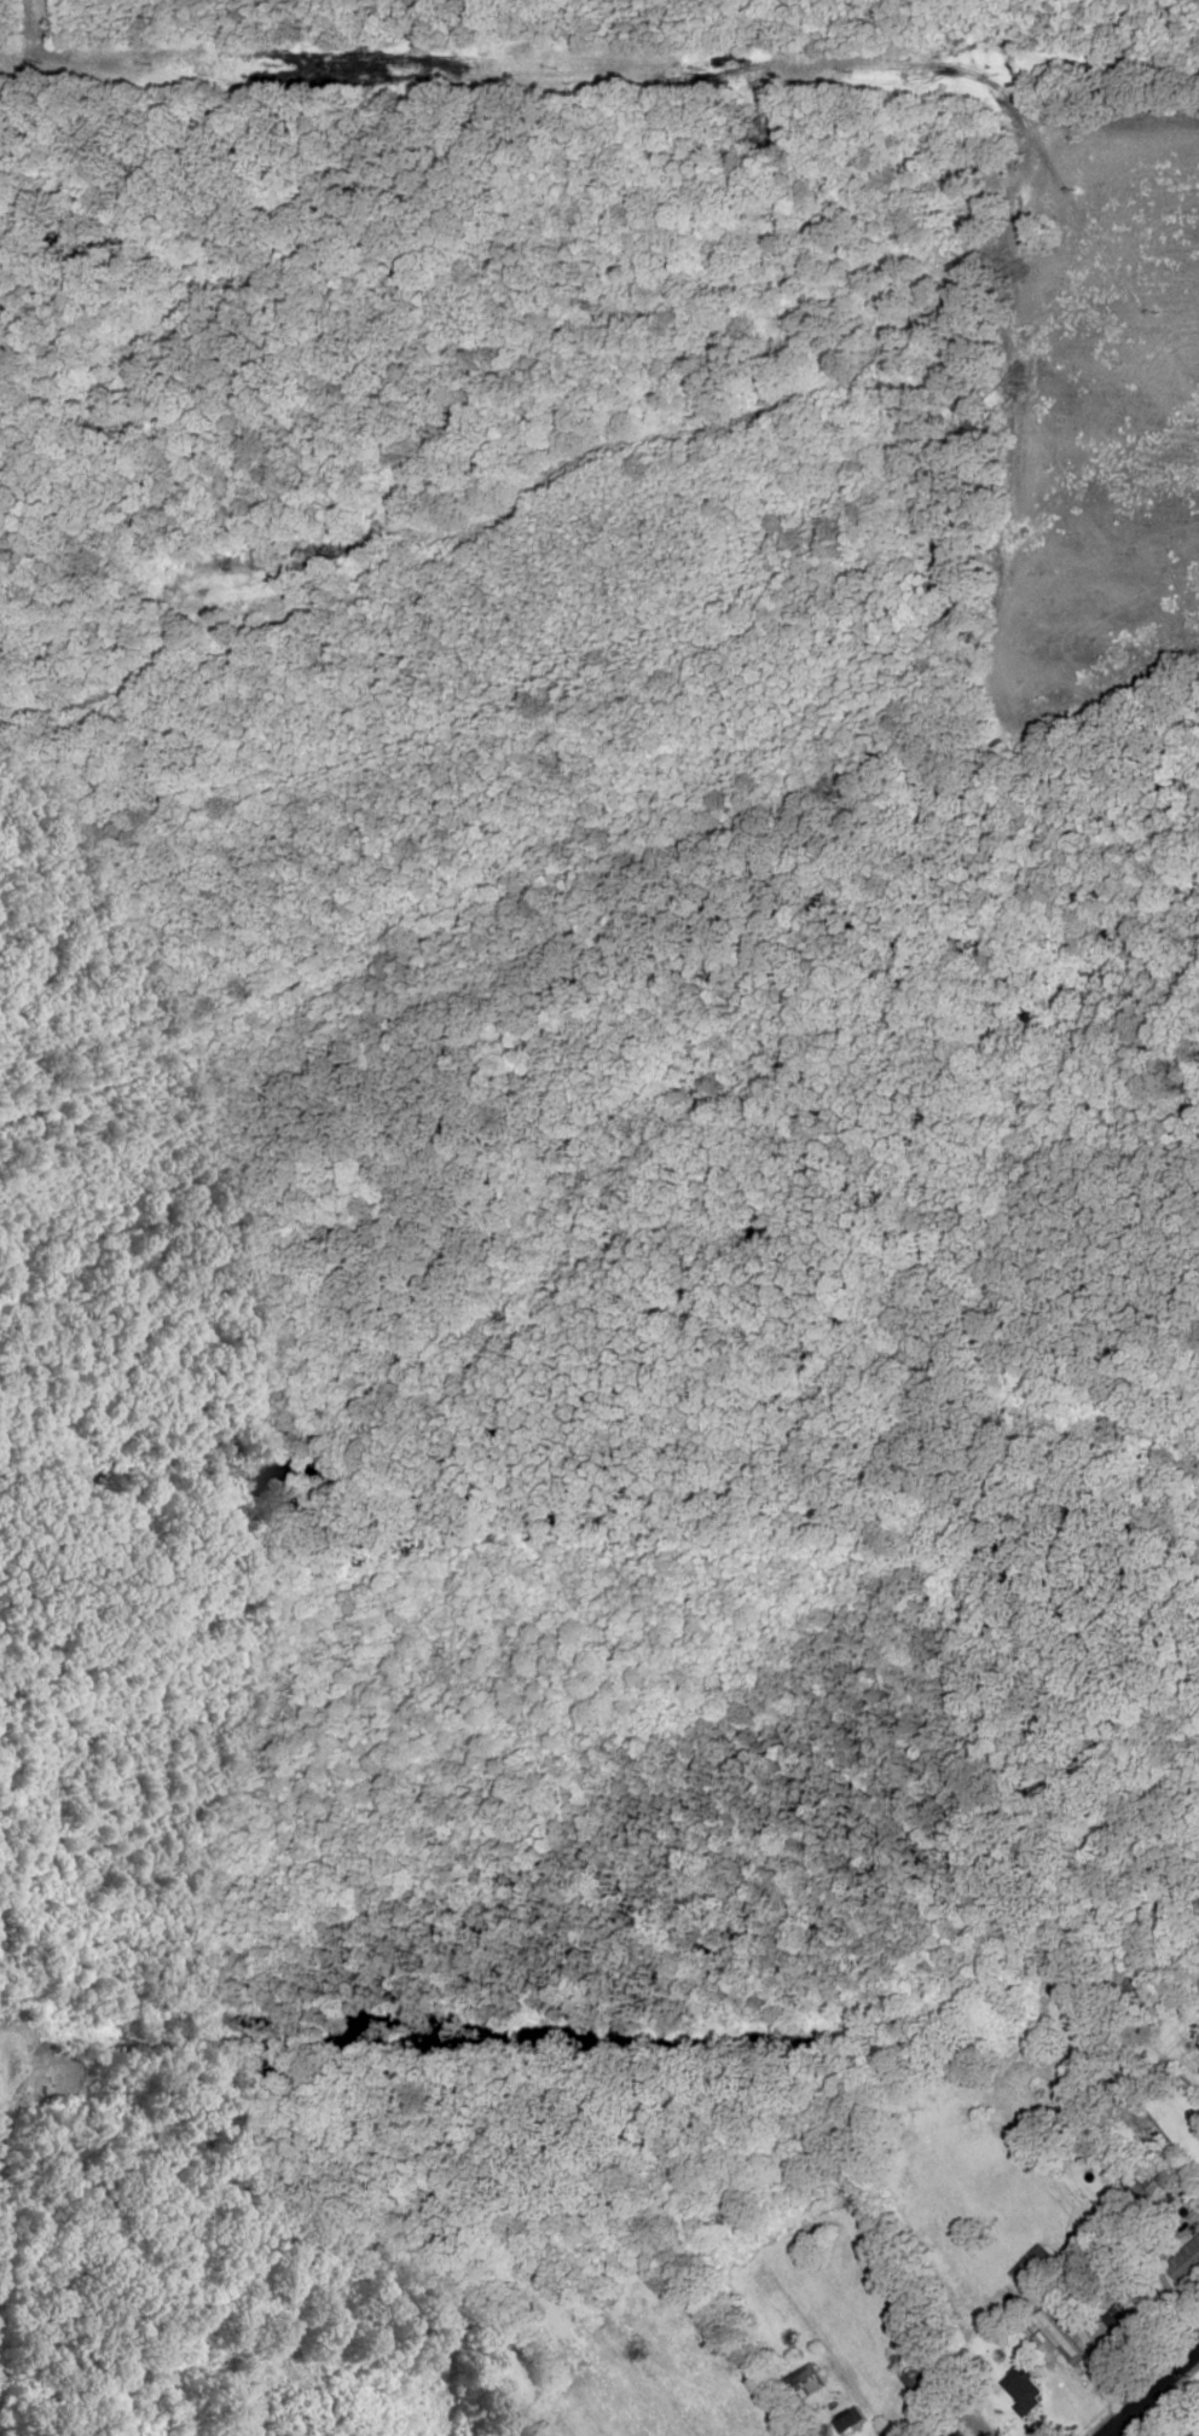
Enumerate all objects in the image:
road: (462, 921)
road: (2, 2072)
building: (1037, 2259)
building: (1061, 2337)
building: (805, 2380)
building: (914, 2382)
building: (1024, 2386)
road: (1151, 2391)
road: (865, 2412)
building: (847, 2419)
building: (956, 2434)
building: (1195, 2434)

